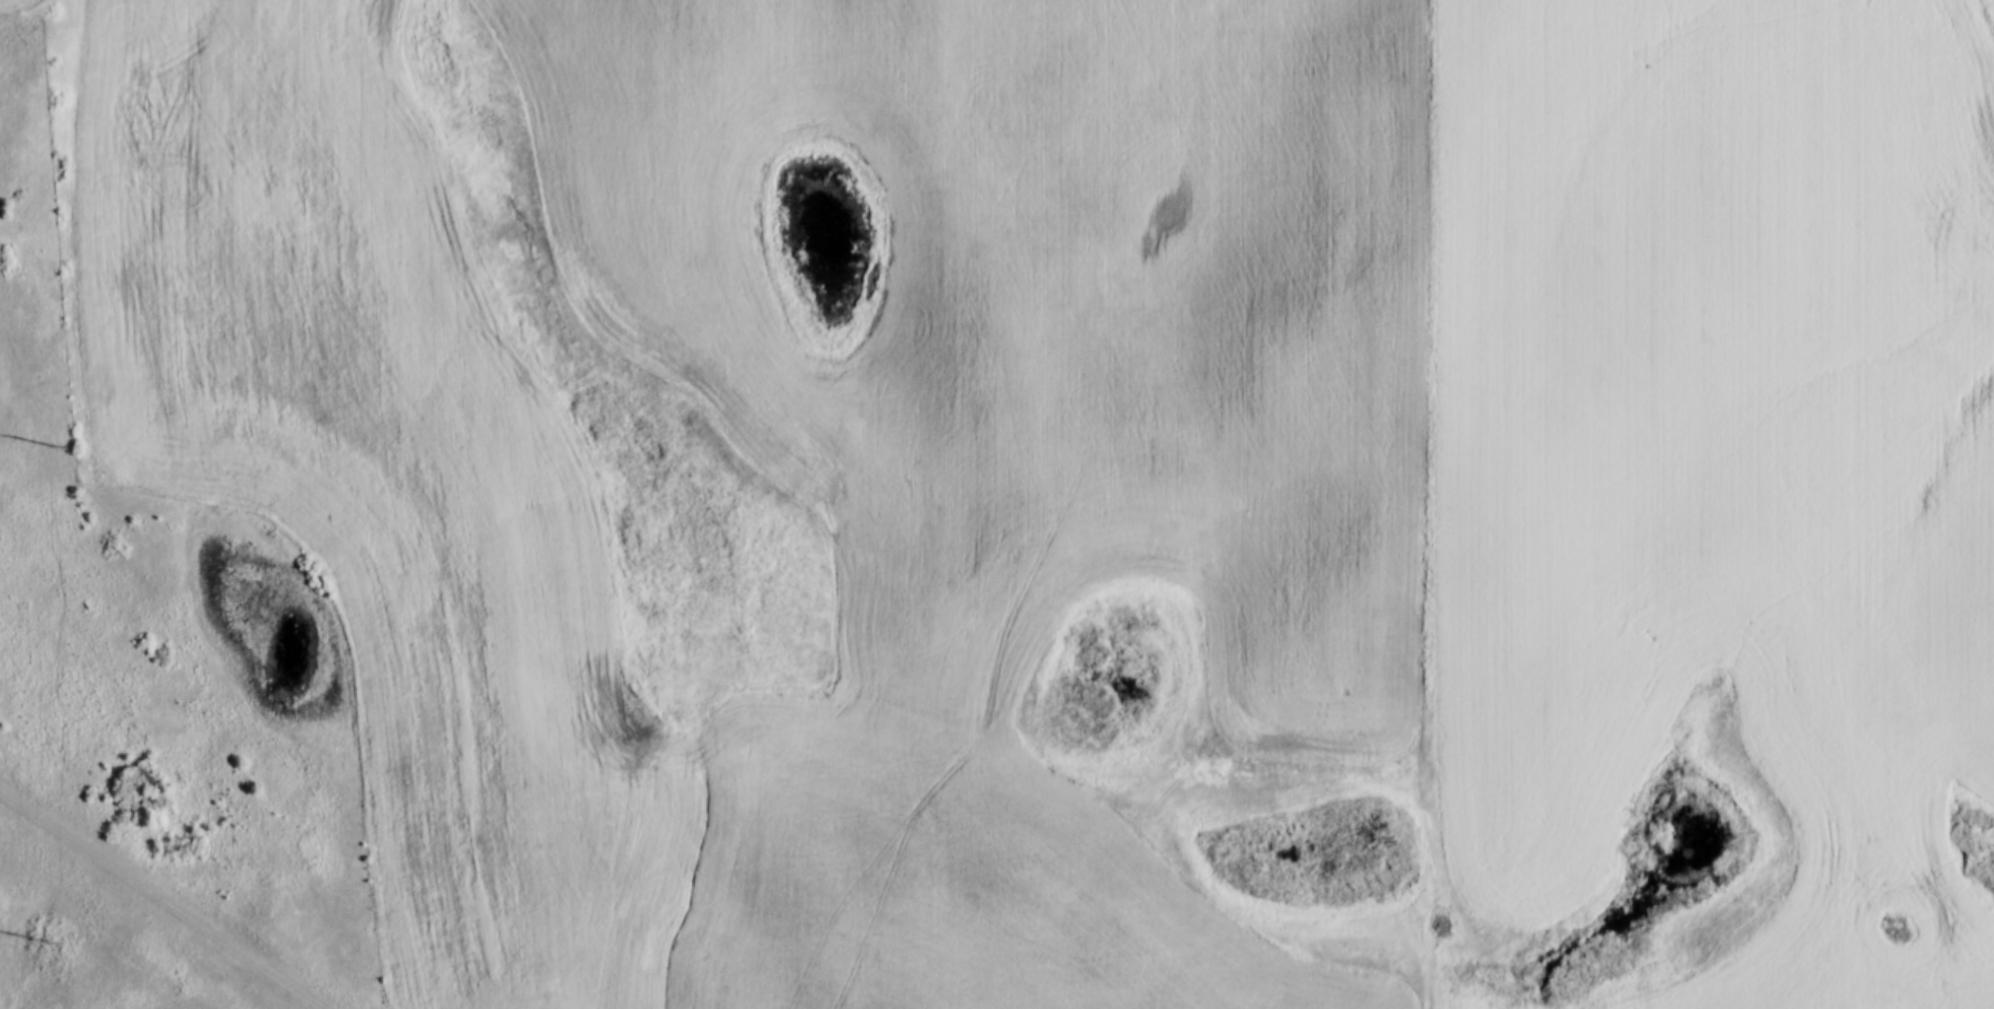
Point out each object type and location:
road: (168, 899)

